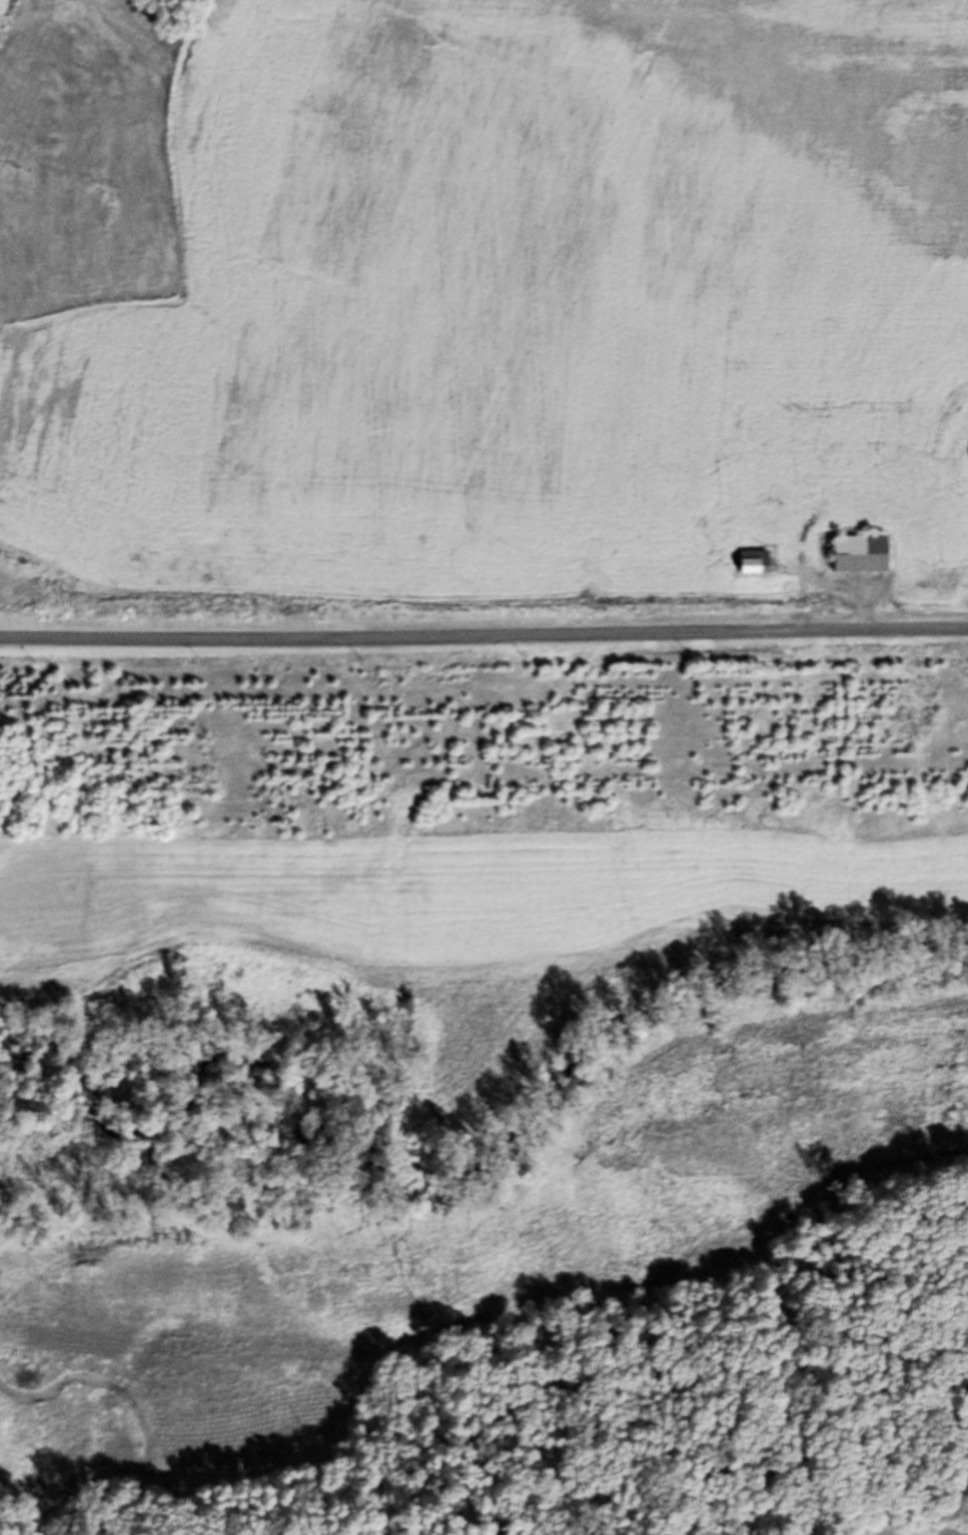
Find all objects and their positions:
building: (854, 559)
building: (748, 567)
road: (484, 636)

